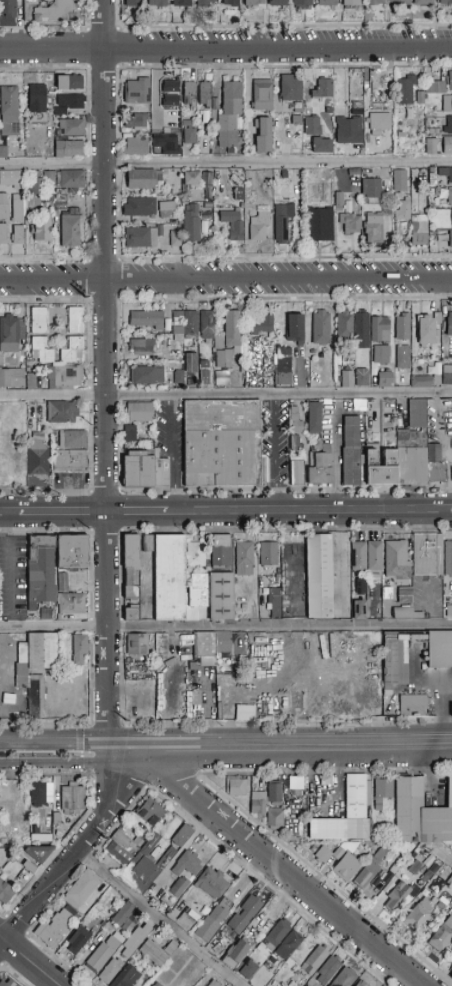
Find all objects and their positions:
building: (205, 2)
building: (362, 2)
building: (399, 2)
building: (423, 2)
building: (445, 2)
building: (132, 3)
building: (157, 3)
building: (181, 3)
building: (230, 3)
building: (253, 3)
building: (278, 3)
building: (327, 3)
building: (302, 4)
building: (8, 9)
building: (48, 10)
road: (84, 14)
road: (270, 26)
road: (42, 28)
road: (101, 28)
road: (225, 47)
building: (68, 83)
building: (441, 85)
building: (291, 89)
building: (321, 89)
building: (138, 90)
building: (405, 90)
building: (378, 91)
building: (171, 94)
building: (189, 94)
building: (204, 94)
building: (262, 96)
building: (37, 99)
building: (69, 103)
building: (447, 104)
building: (10, 111)
building: (229, 114)
building: (136, 121)
building: (380, 121)
building: (450, 125)
building: (71, 128)
building: (349, 130)
building: (263, 135)
building: (316, 135)
building: (189, 136)
building: (165, 144)
building: (447, 145)
building: (135, 146)
building: (431, 146)
building: (2, 149)
building: (68, 149)
road: (226, 162)
building: (445, 174)
building: (11, 178)
building: (71, 179)
building: (142, 180)
building: (312, 181)
building: (399, 181)
building: (41, 182)
building: (190, 182)
building: (207, 182)
building: (371, 188)
building: (450, 197)
building: (3, 207)
building: (139, 207)
building: (167, 208)
building: (18, 218)
building: (283, 219)
building: (231, 222)
building: (191, 223)
building: (412, 223)
building: (351, 224)
building: (318, 225)
building: (42, 227)
building: (259, 227)
building: (373, 227)
building: (400, 228)
building: (451, 228)
building: (71, 231)
building: (3, 233)
building: (449, 237)
building: (141, 238)
road: (226, 281)
power tower: (91, 302)
building: (146, 320)
building: (38, 321)
building: (185, 322)
building: (263, 324)
building: (206, 325)
building: (294, 326)
building: (449, 326)
building: (363, 327)
building: (402, 327)
building: (232, 329)
building: (429, 329)
building: (322, 331)
building: (10, 332)
building: (74, 337)
building: (141, 347)
building: (40, 350)
building: (381, 354)
building: (402, 357)
building: (223, 358)
building: (188, 362)
building: (283, 366)
road: (107, 371)
building: (147, 375)
building: (173, 375)
building: (219, 375)
building: (447, 375)
building: (362, 377)
building: (64, 378)
building: (347, 378)
building: (16, 379)
building: (383, 380)
building: (424, 381)
road: (226, 393)
building: (63, 412)
building: (139, 412)
building: (416, 414)
building: (314, 418)
building: (295, 419)
building: (129, 433)
building: (400, 434)
building: (72, 439)
building: (294, 441)
building: (221, 443)
building: (431, 450)
road: (173, 453)
road: (274, 453)
building: (405, 457)
building: (37, 458)
building: (70, 461)
building: (145, 469)
building: (296, 469)
building: (320, 470)
building: (436, 471)
road: (451, 511)
road: (309, 512)
road: (9, 514)
road: (64, 514)
road: (138, 514)
building: (131, 551)
building: (72, 552)
building: (220, 552)
building: (427, 554)
building: (195, 555)
building: (268, 555)
building: (358, 556)
building: (375, 556)
building: (244, 558)
building: (448, 558)
building: (397, 560)
building: (36, 569)
building: (85, 572)
building: (170, 578)
building: (320, 578)
building: (278, 581)
building: (63, 582)
building: (361, 586)
building: (132, 593)
building: (221, 596)
building: (275, 602)
building: (72, 604)
building: (403, 604)
building: (359, 609)
building: (190, 611)
building: (448, 611)
building: (46, 614)
road: (225, 626)
building: (225, 643)
building: (137, 645)
building: (198, 648)
building: (79, 649)
building: (439, 649)
building: (42, 650)
building: (394, 662)
building: (21, 676)
building: (171, 680)
building: (185, 689)
building: (36, 696)
building: (161, 697)
building: (298, 701)
building: (363, 702)
building: (373, 702)
building: (414, 707)
building: (449, 708)
building: (245, 713)
railway: (226, 740)
road: (302, 743)
road: (55, 744)
road: (131, 744)
railway: (226, 748)
railway: (41, 752)
road: (337, 782)
building: (57, 786)
building: (236, 786)
building: (382, 792)
building: (37, 793)
building: (275, 794)
building: (73, 799)
building: (57, 800)
building: (258, 803)
building: (408, 809)
building: (150, 812)
building: (356, 813)
building: (48, 818)
building: (275, 818)
building: (61, 819)
building: (437, 820)
building: (360, 822)
building: (182, 836)
building: (128, 839)
building: (152, 844)
road: (79, 847)
building: (359, 848)
building: (39, 853)
building: (119, 854)
building: (369, 855)
building: (328, 856)
road: (445, 857)
building: (187, 864)
building: (152, 867)
building: (416, 867)
building: (347, 868)
building: (371, 868)
building: (30, 869)
road: (281, 870)
building: (392, 872)
building: (430, 872)
building: (450, 882)
building: (212, 883)
building: (179, 887)
building: (82, 889)
building: (5, 893)
building: (398, 893)
building: (417, 914)
building: (245, 915)
building: (125, 917)
road: (157, 919)
building: (213, 920)
building: (61, 922)
building: (103, 924)
building: (277, 934)
building: (47, 935)
building: (441, 936)
building: (78, 939)
building: (135, 940)
building: (289, 945)
building: (260, 948)
building: (157, 952)
building: (236, 954)
building: (102, 955)
building: (451, 958)
road: (30, 960)
building: (273, 960)
building: (451, 962)
building: (309, 966)
building: (248, 969)
building: (327, 970)
building: (111, 971)
building: (451, 976)
building: (126, 977)
building: (345, 978)
building: (2, 983)
building: (214, 983)
building: (361, 983)
building: (157, 984)
building: (153, 985)

